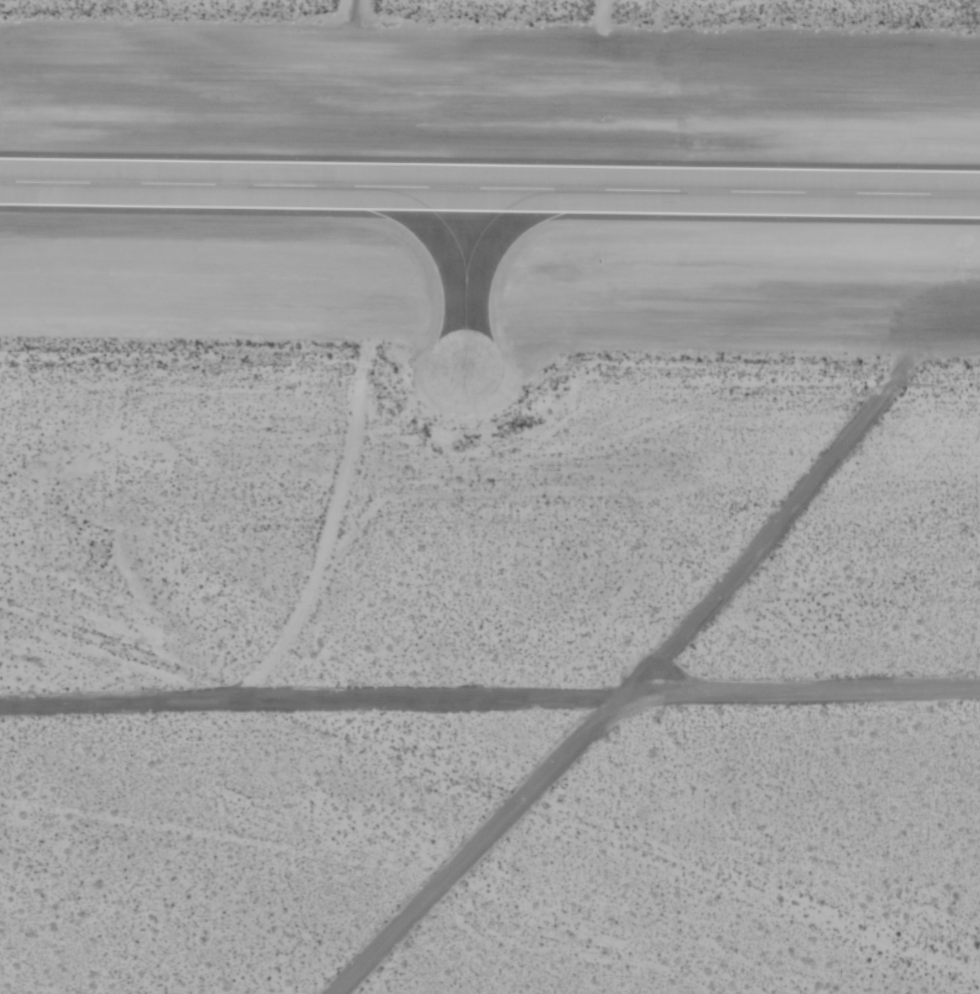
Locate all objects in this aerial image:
airport runway: (490, 188)
airport: (490, 497)

